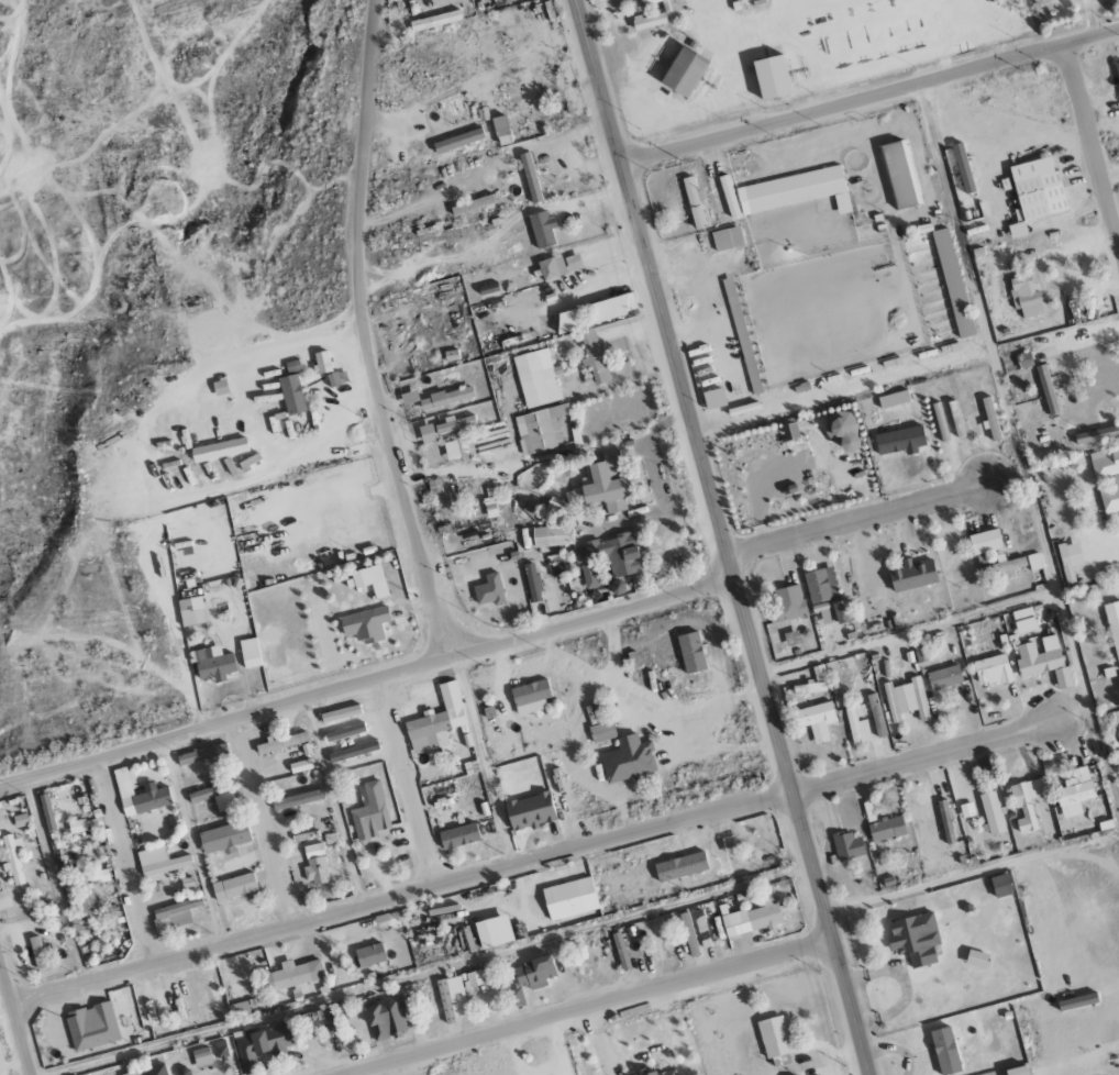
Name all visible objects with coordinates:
building: (742, 0)
building: (595, 1)
building: (650, 1)
building: (435, 20)
building: (649, 21)
building: (1118, 67)
building: (684, 71)
building: (771, 77)
road: (868, 93)
building: (501, 130)
building: (458, 140)
road: (1092, 143)
building: (963, 168)
building: (900, 175)
building: (530, 177)
building: (795, 190)
building: (1035, 192)
building: (729, 196)
building: (694, 203)
building: (472, 204)
building: (542, 229)
building: (727, 239)
building: (558, 266)
building: (1024, 297)
building: (607, 309)
building: (569, 320)
road: (367, 334)
building: (594, 357)
building: (321, 362)
building: (1046, 389)
building: (291, 395)
building: (409, 397)
building: (446, 398)
building: (713, 399)
building: (894, 399)
building: (990, 418)
building: (955, 419)
building: (940, 422)
building: (455, 423)
building: (541, 429)
building: (842, 430)
building: (789, 432)
building: (426, 433)
building: (1096, 434)
building: (900, 441)
building: (219, 450)
building: (1107, 476)
building: (606, 484)
building: (490, 508)
road: (869, 517)
building: (552, 536)
road: (720, 536)
building: (985, 542)
building: (611, 554)
building: (1033, 562)
building: (1002, 566)
building: (588, 575)
building: (912, 575)
building: (370, 580)
building: (532, 583)
building: (489, 590)
building: (826, 597)
road: (1056, 601)
building: (789, 602)
building: (191, 611)
building: (1021, 614)
building: (365, 624)
building: (1114, 628)
building: (791, 639)
building: (250, 653)
building: (691, 653)
building: (919, 653)
building: (1043, 661)
building: (213, 664)
building: (993, 671)
building: (819, 673)
building: (944, 677)
road: (366, 684)
building: (530, 697)
building: (906, 699)
building: (341, 713)
building: (816, 720)
building: (436, 723)
building: (857, 724)
building: (345, 732)
building: (601, 732)
building: (281, 743)
building: (353, 751)
road: (926, 754)
building: (202, 755)
building: (628, 760)
building: (299, 766)
road: (409, 784)
building: (1075, 791)
building: (217, 795)
building: (139, 796)
building: (298, 799)
building: (1027, 802)
building: (369, 811)
building: (530, 811)
building: (47, 812)
building: (991, 812)
building: (945, 821)
road: (267, 823)
building: (886, 828)
building: (922, 829)
building: (458, 836)
building: (223, 838)
building: (722, 845)
building: (847, 845)
building: (13, 857)
building: (159, 862)
road: (126, 863)
building: (315, 865)
building: (680, 866)
building: (1000, 885)
building: (233, 887)
road: (399, 898)
building: (569, 899)
building: (175, 915)
building: (752, 919)
building: (494, 931)
building: (688, 933)
building: (915, 939)
building: (620, 951)
building: (38, 952)
building: (369, 954)
building: (976, 960)
building: (534, 972)
building: (293, 975)
road: (908, 986)
building: (456, 991)
building: (202, 997)
building: (1077, 1001)
road: (584, 1007)
building: (237, 1009)
building: (315, 1016)
building: (386, 1017)
road: (14, 1021)
building: (91, 1026)
building: (774, 1037)
building: (264, 1045)
road: (897, 1050)
building: (944, 1051)
building: (202, 1056)
building: (149, 1071)
building: (1017, 1071)
building: (657, 1072)

